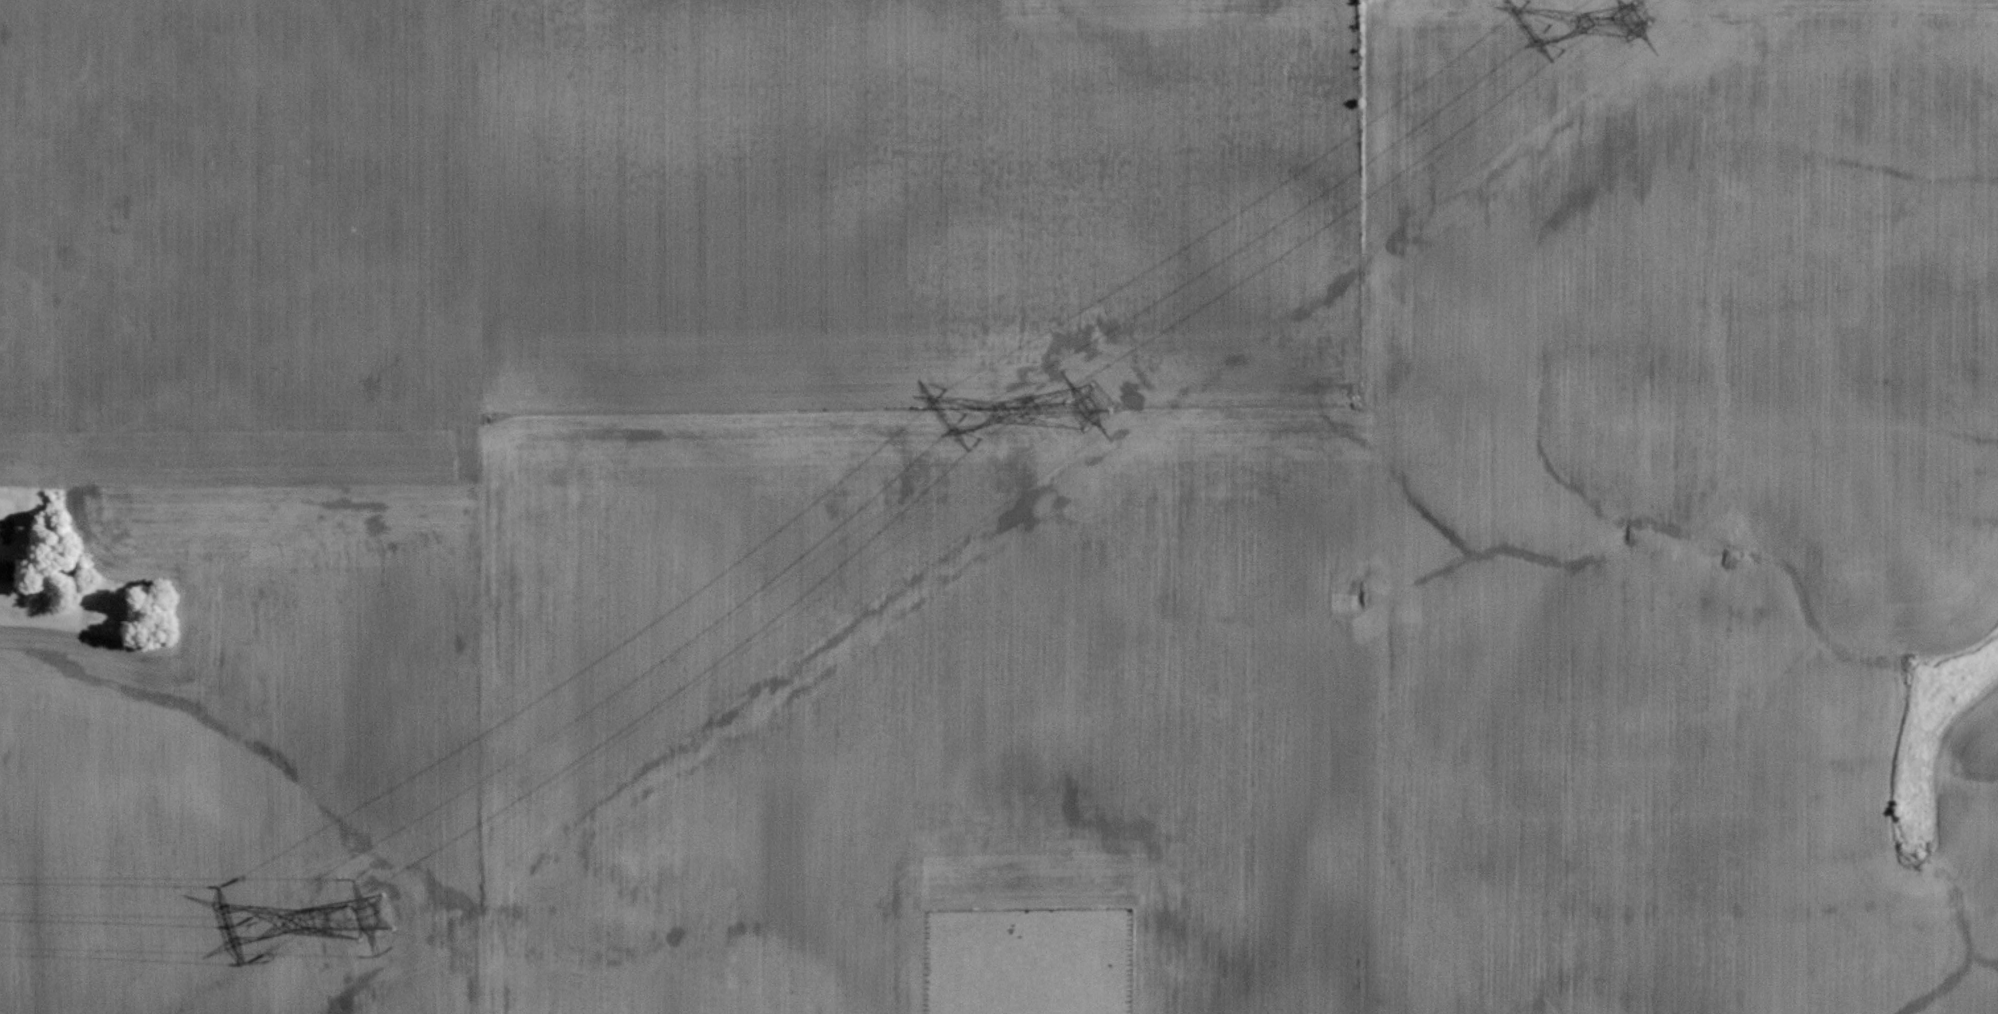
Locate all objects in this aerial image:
power tower: (1625, 22)
power tower: (1083, 401)
power tower: (353, 915)

